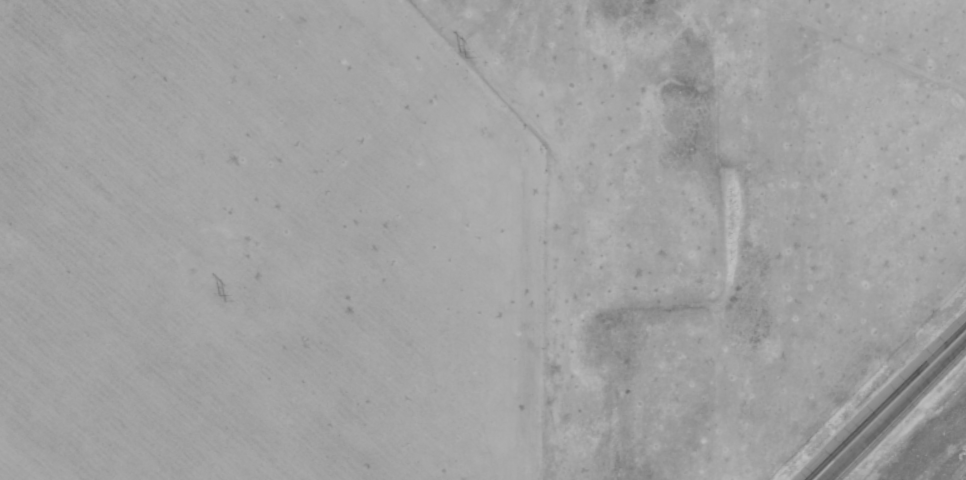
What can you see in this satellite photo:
power tower: (462, 55)
power tower: (222, 299)
road: (895, 408)

